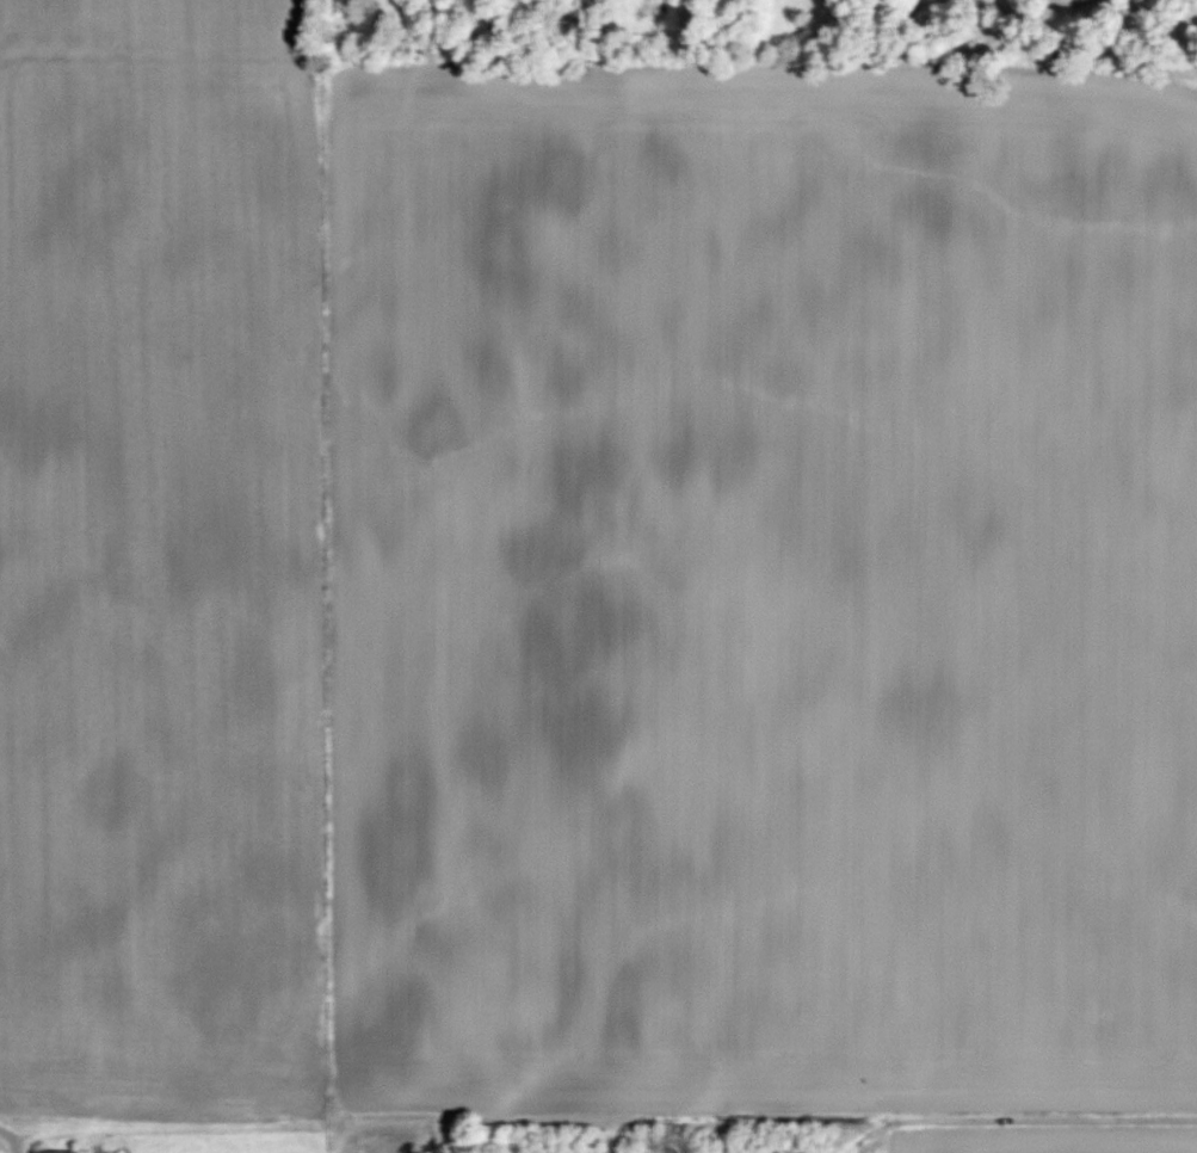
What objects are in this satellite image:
road: (12, 1129)
building: (62, 1152)

